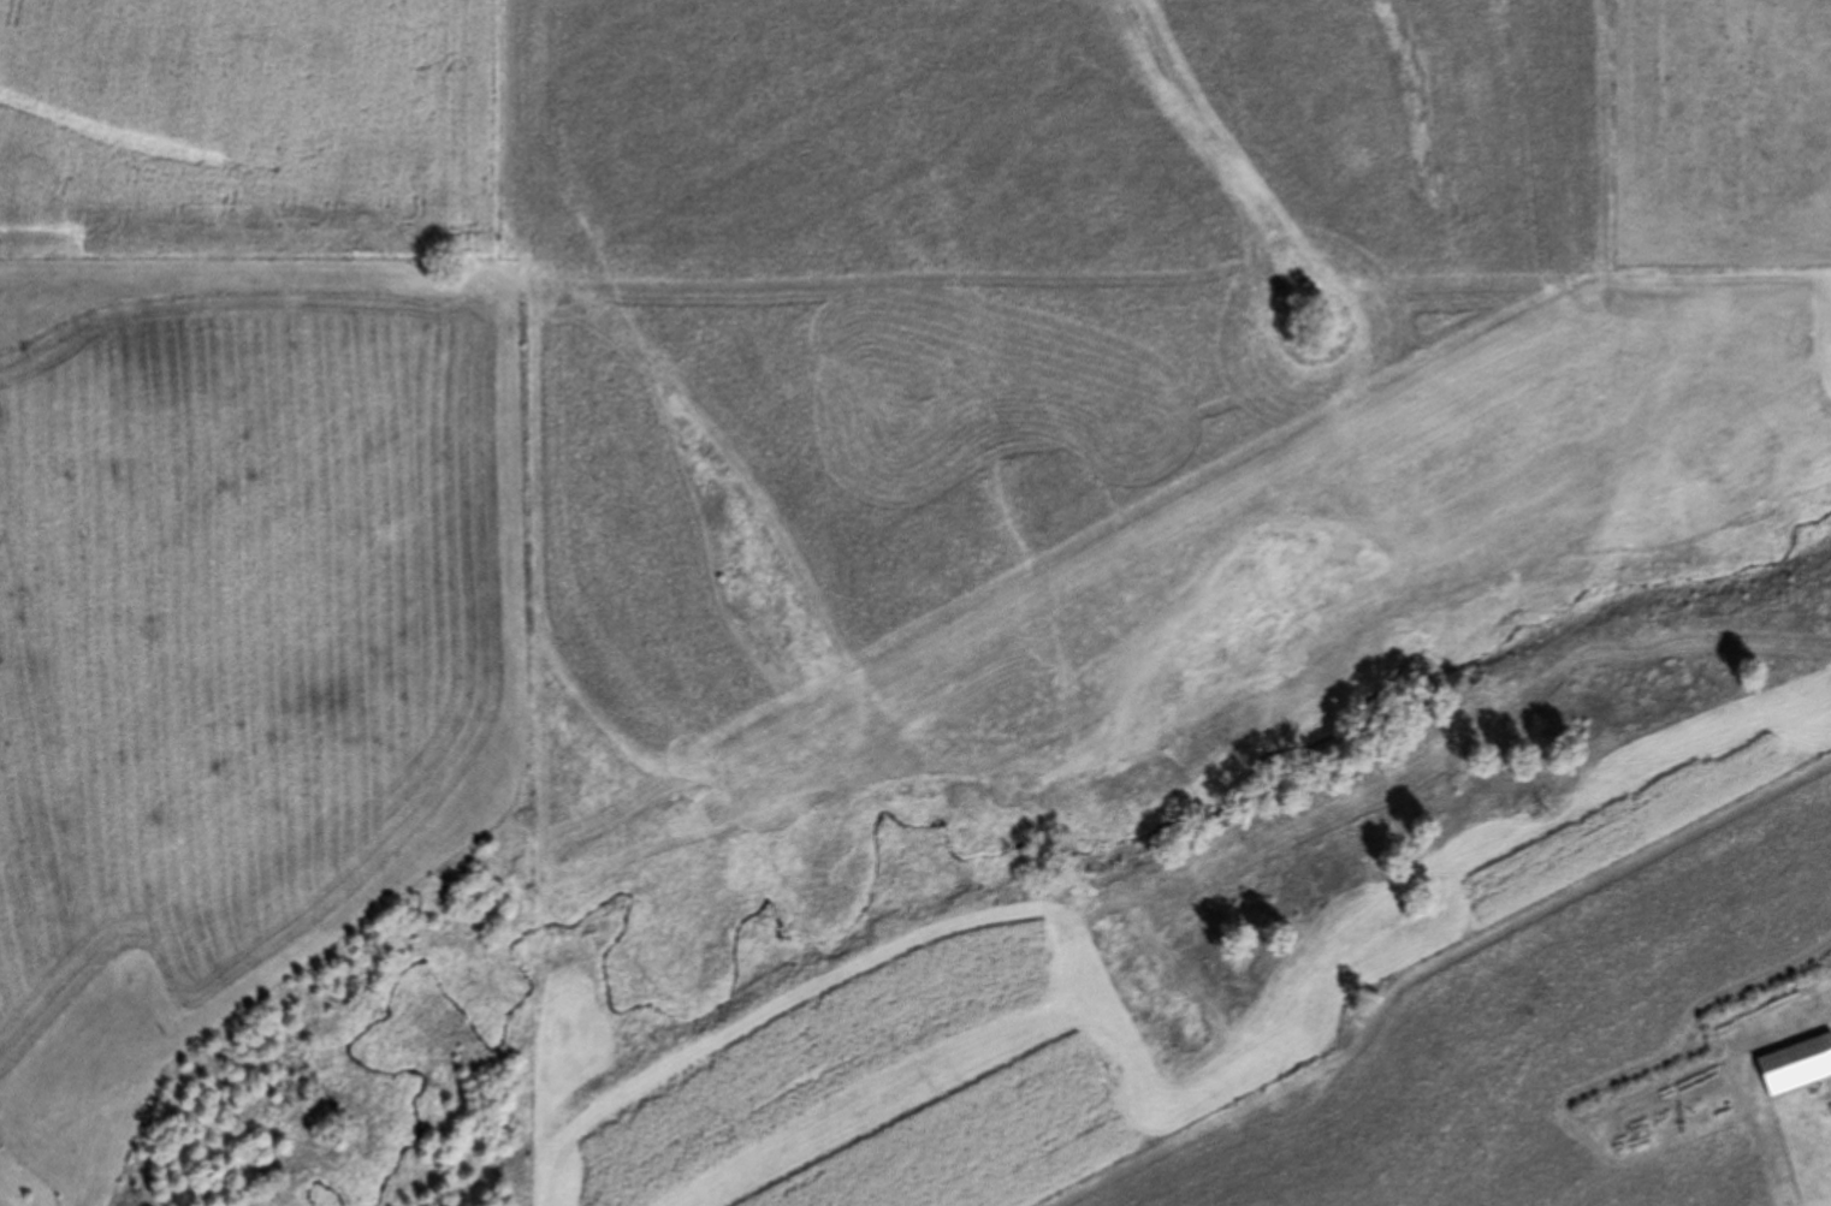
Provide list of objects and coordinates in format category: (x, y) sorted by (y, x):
building: (1797, 1065)

